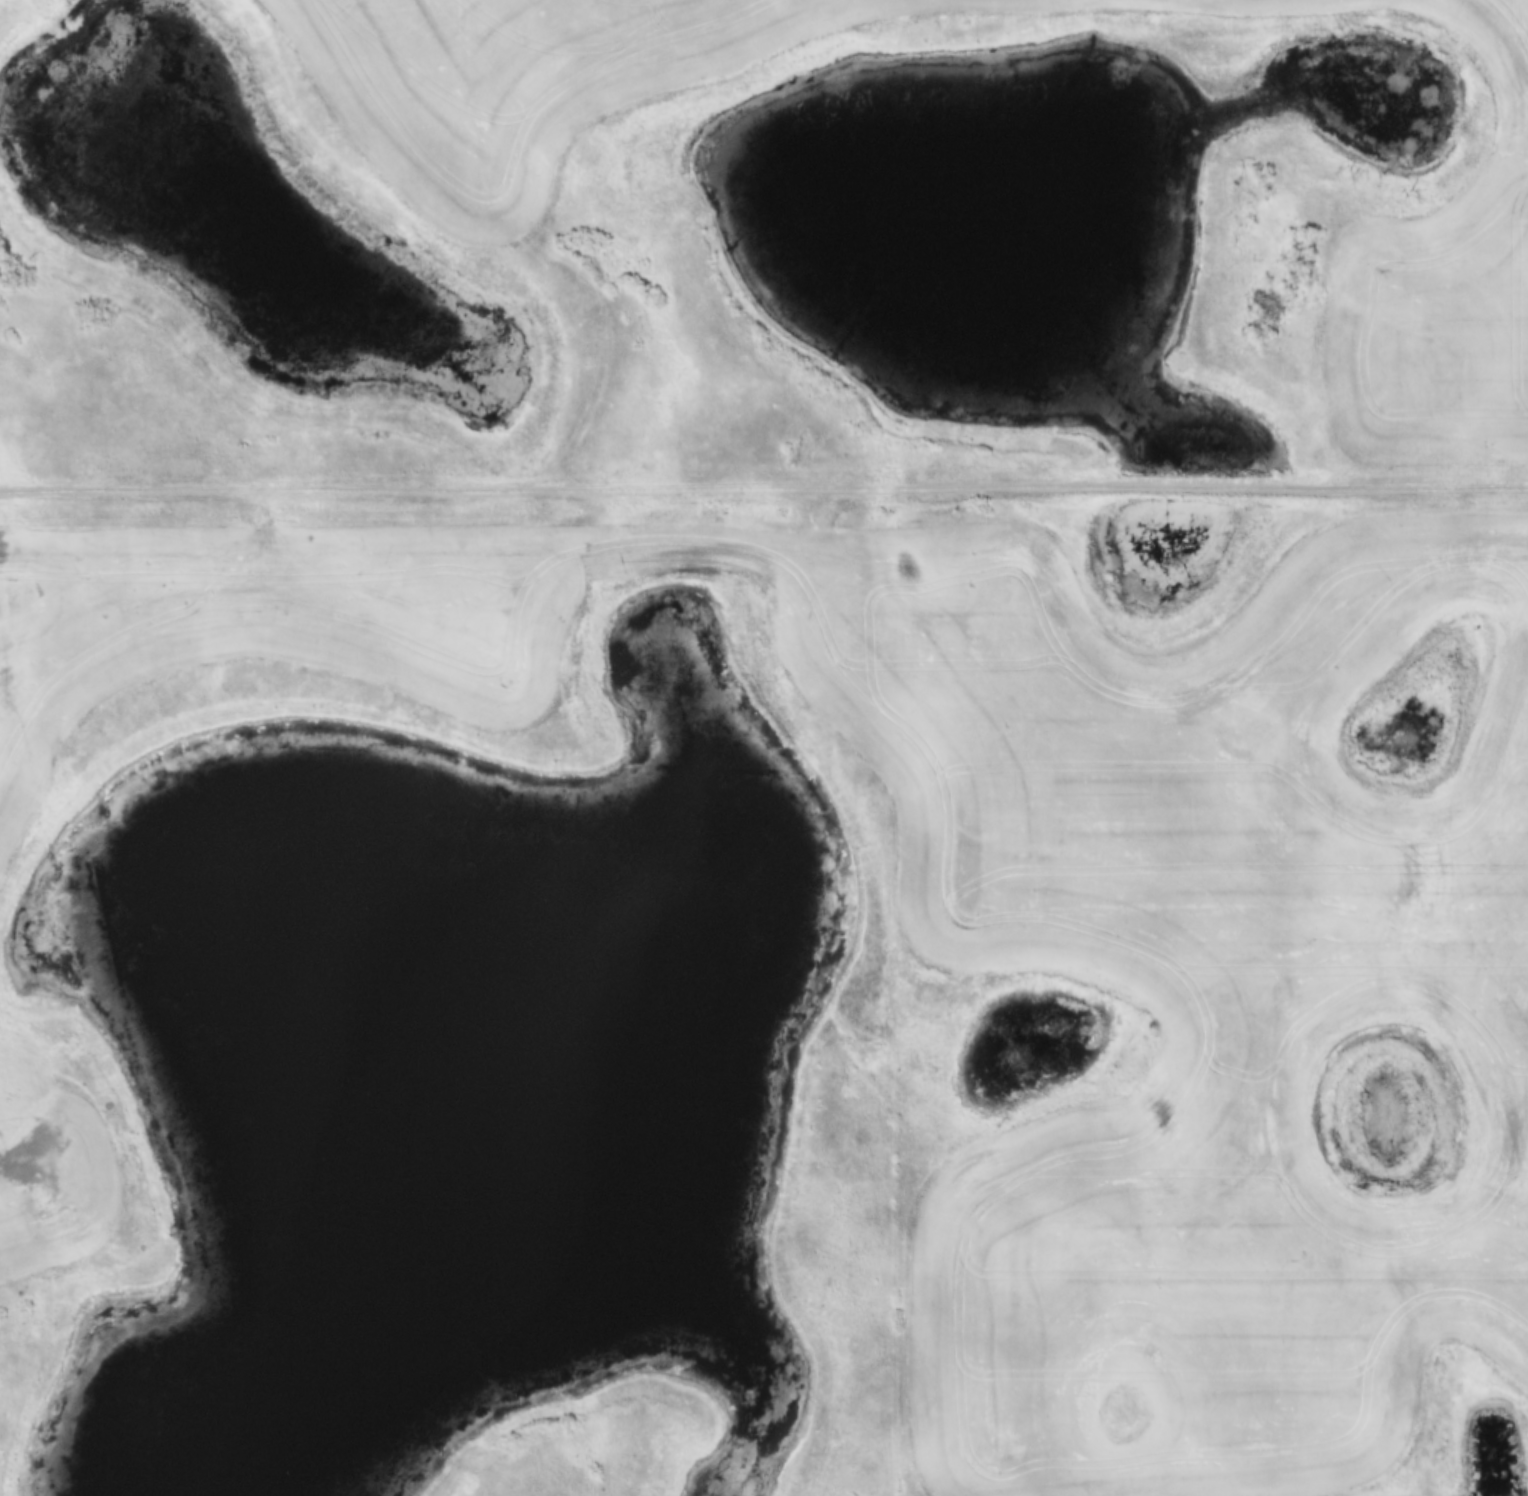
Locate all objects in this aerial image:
road: (855, 483)

